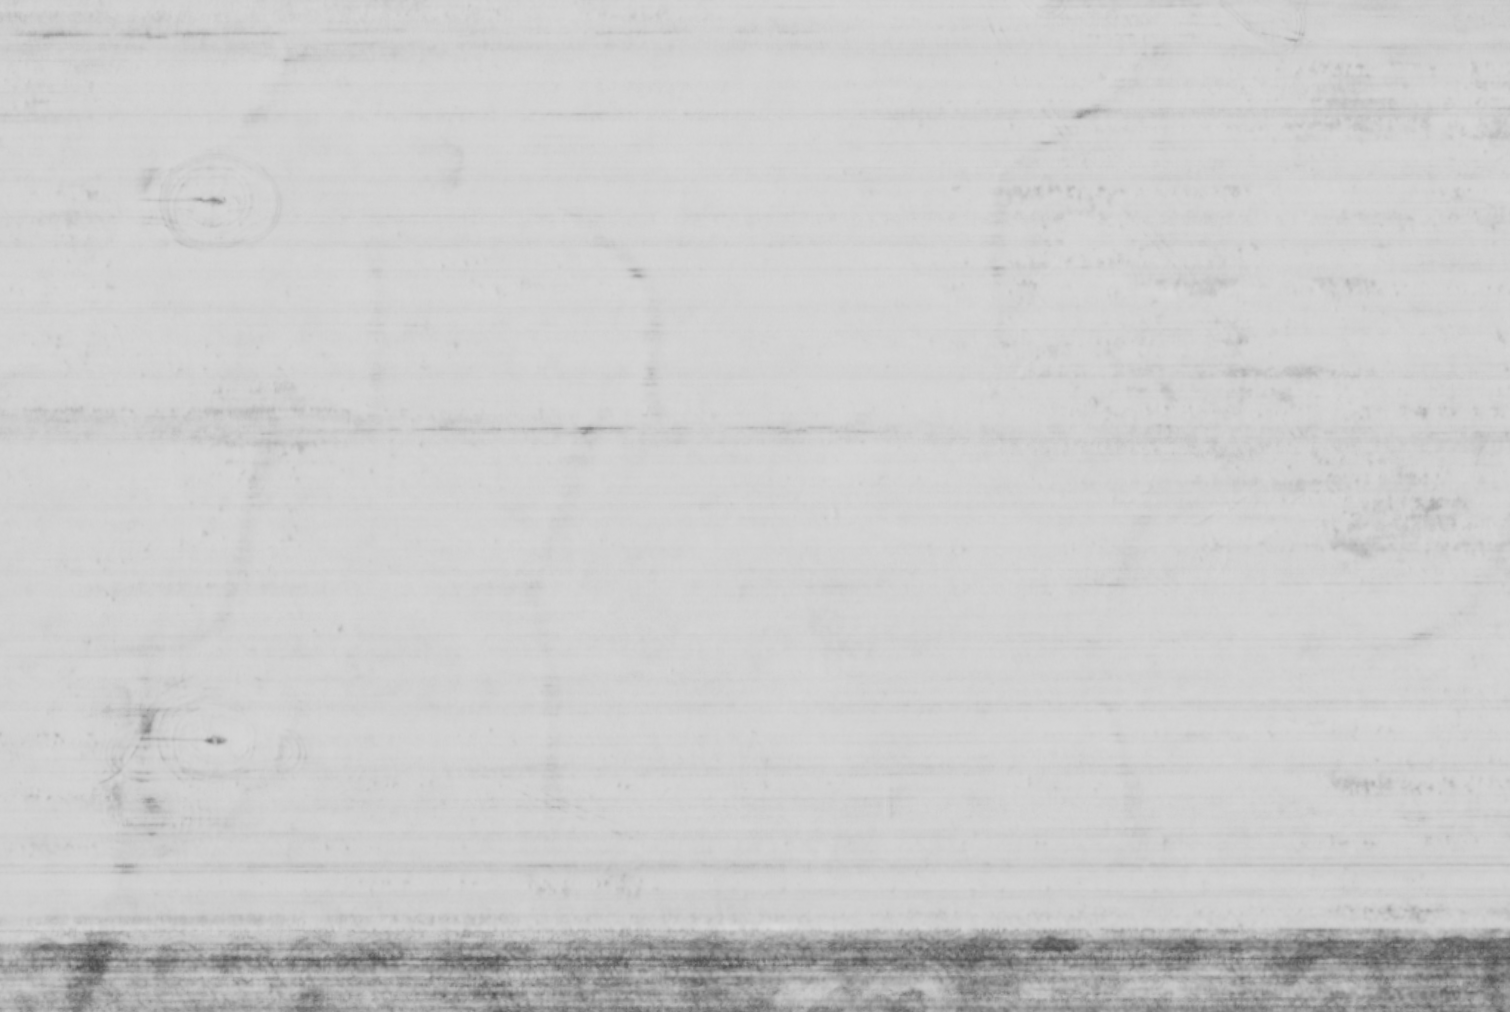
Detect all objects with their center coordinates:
power tower: (211, 197)
crop: (754, 460)
road: (203, 622)
power tower: (210, 736)
crop: (761, 966)

